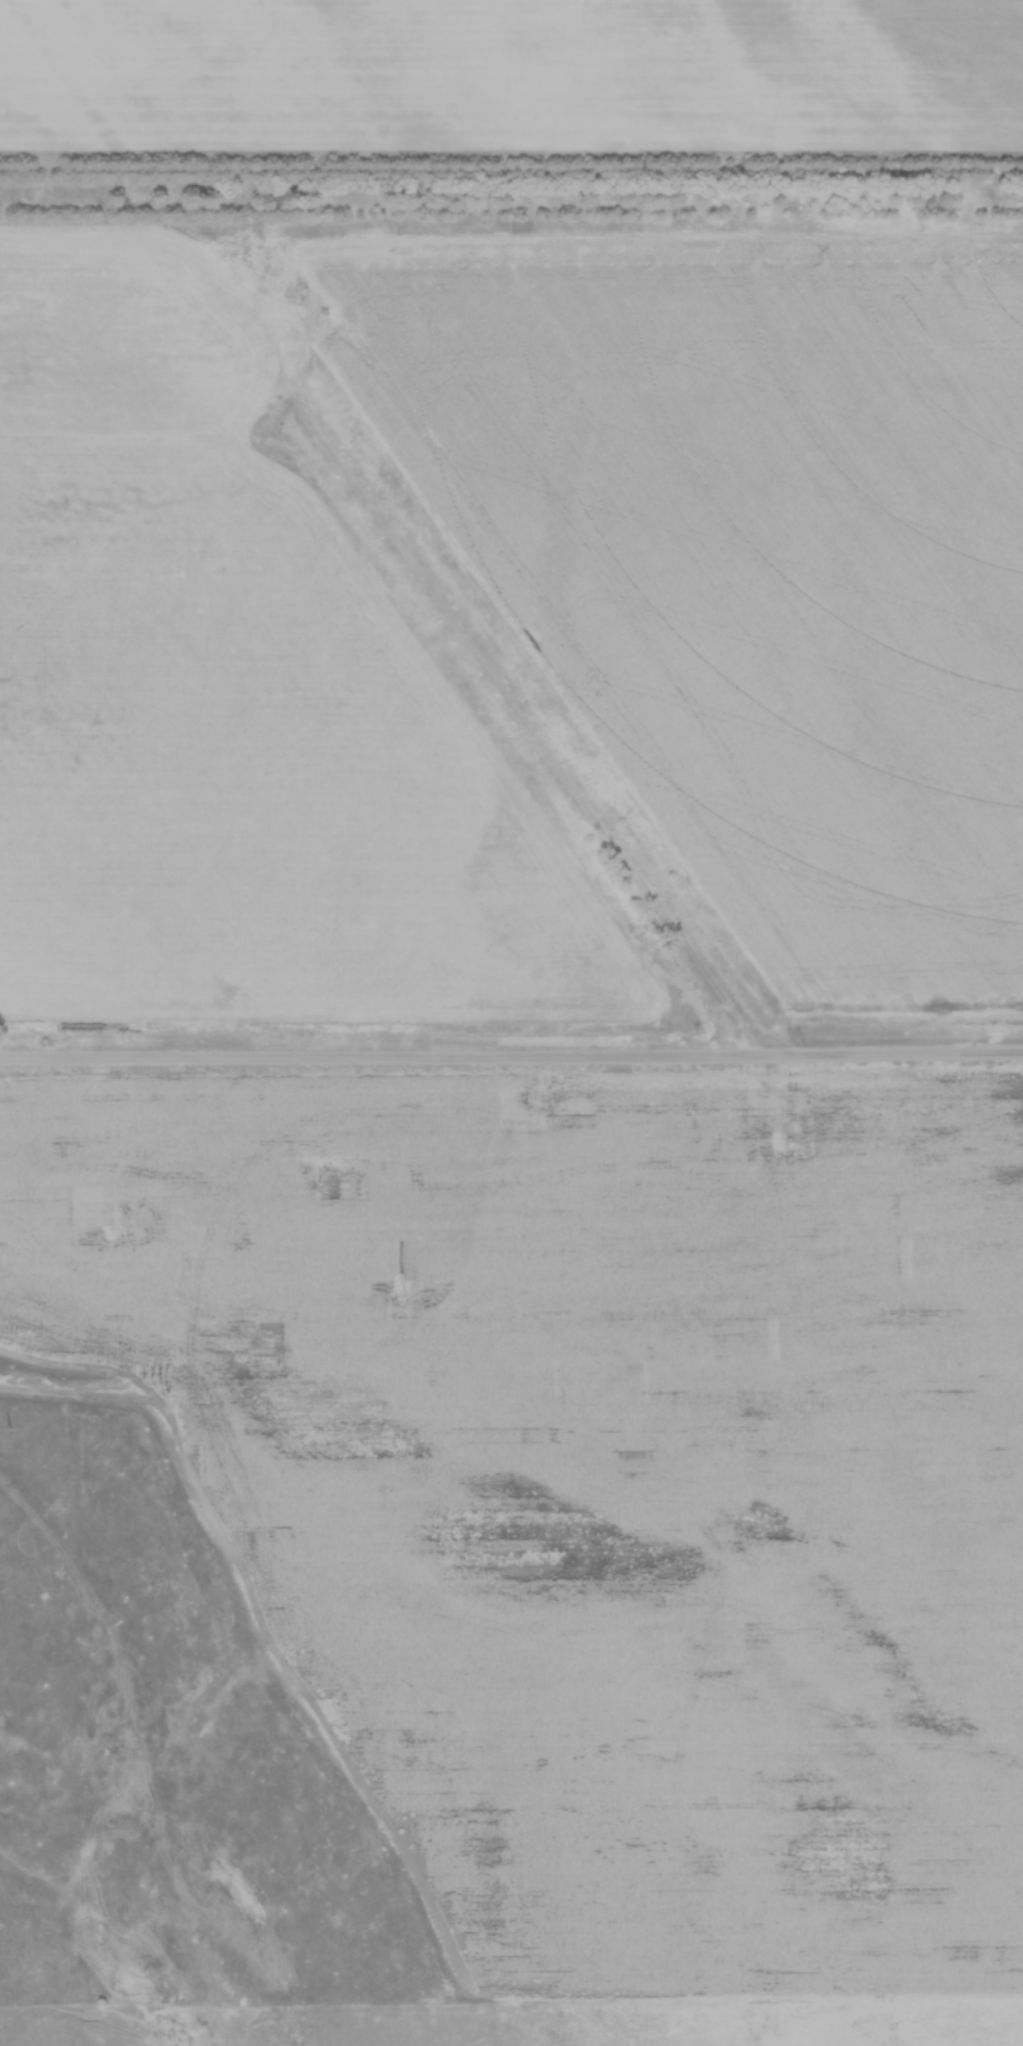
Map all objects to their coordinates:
road: (511, 1055)
power tower: (786, 1143)
power tower: (404, 1286)
power tower: (11, 1434)

